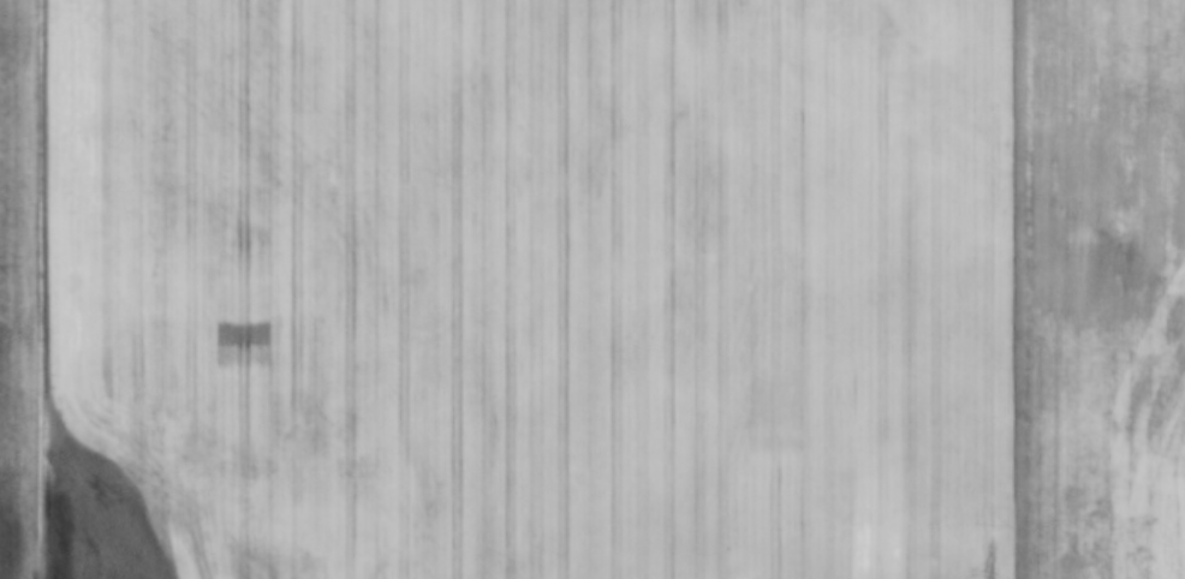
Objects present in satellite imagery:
road: (46, 289)

